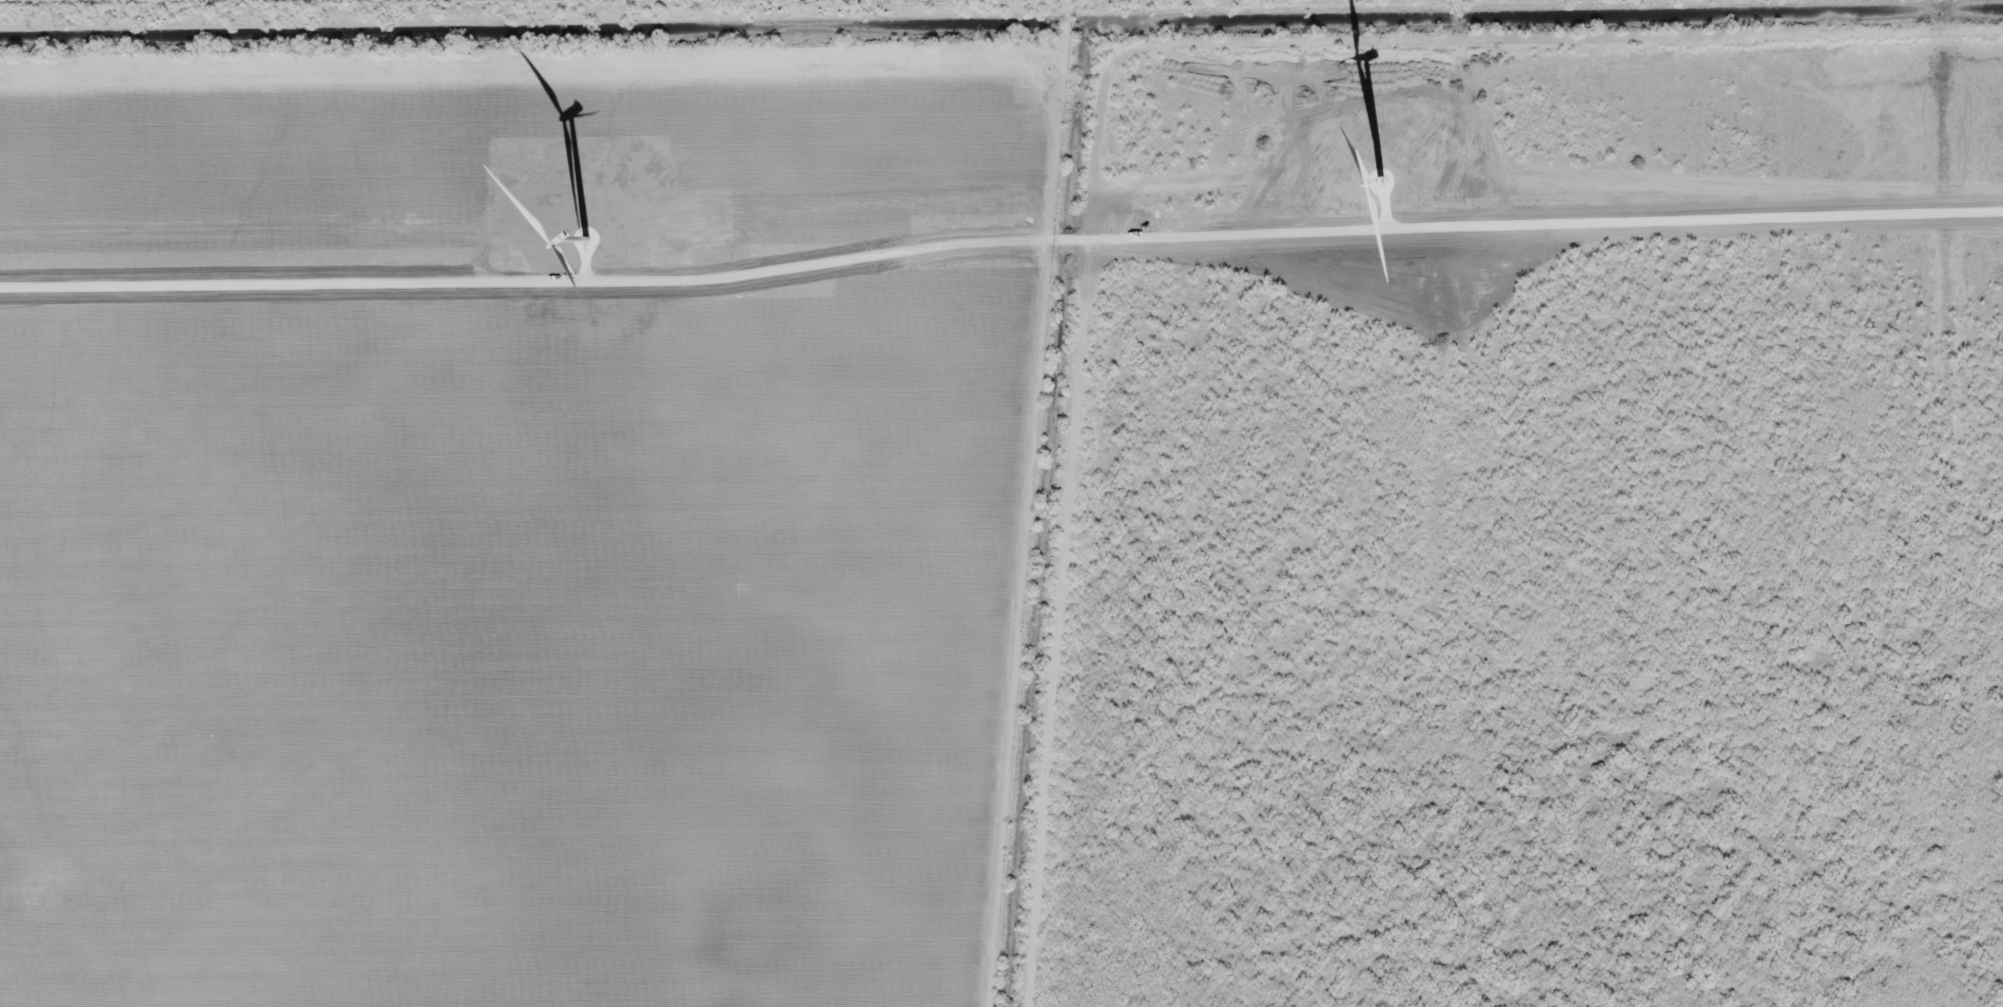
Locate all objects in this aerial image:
wind turbine: (1382, 182)
wind turbine: (586, 240)

